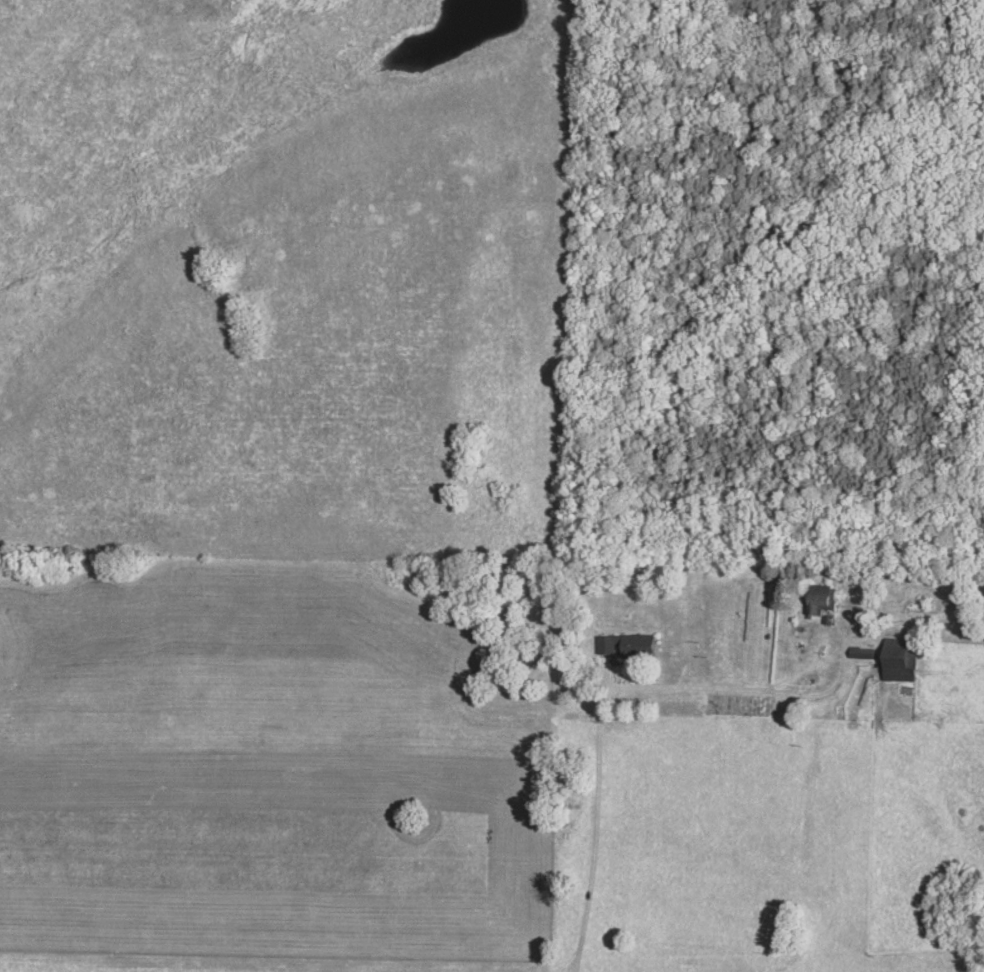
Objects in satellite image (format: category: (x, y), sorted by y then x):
building: (821, 598)
building: (628, 646)
building: (902, 659)
road: (592, 818)

